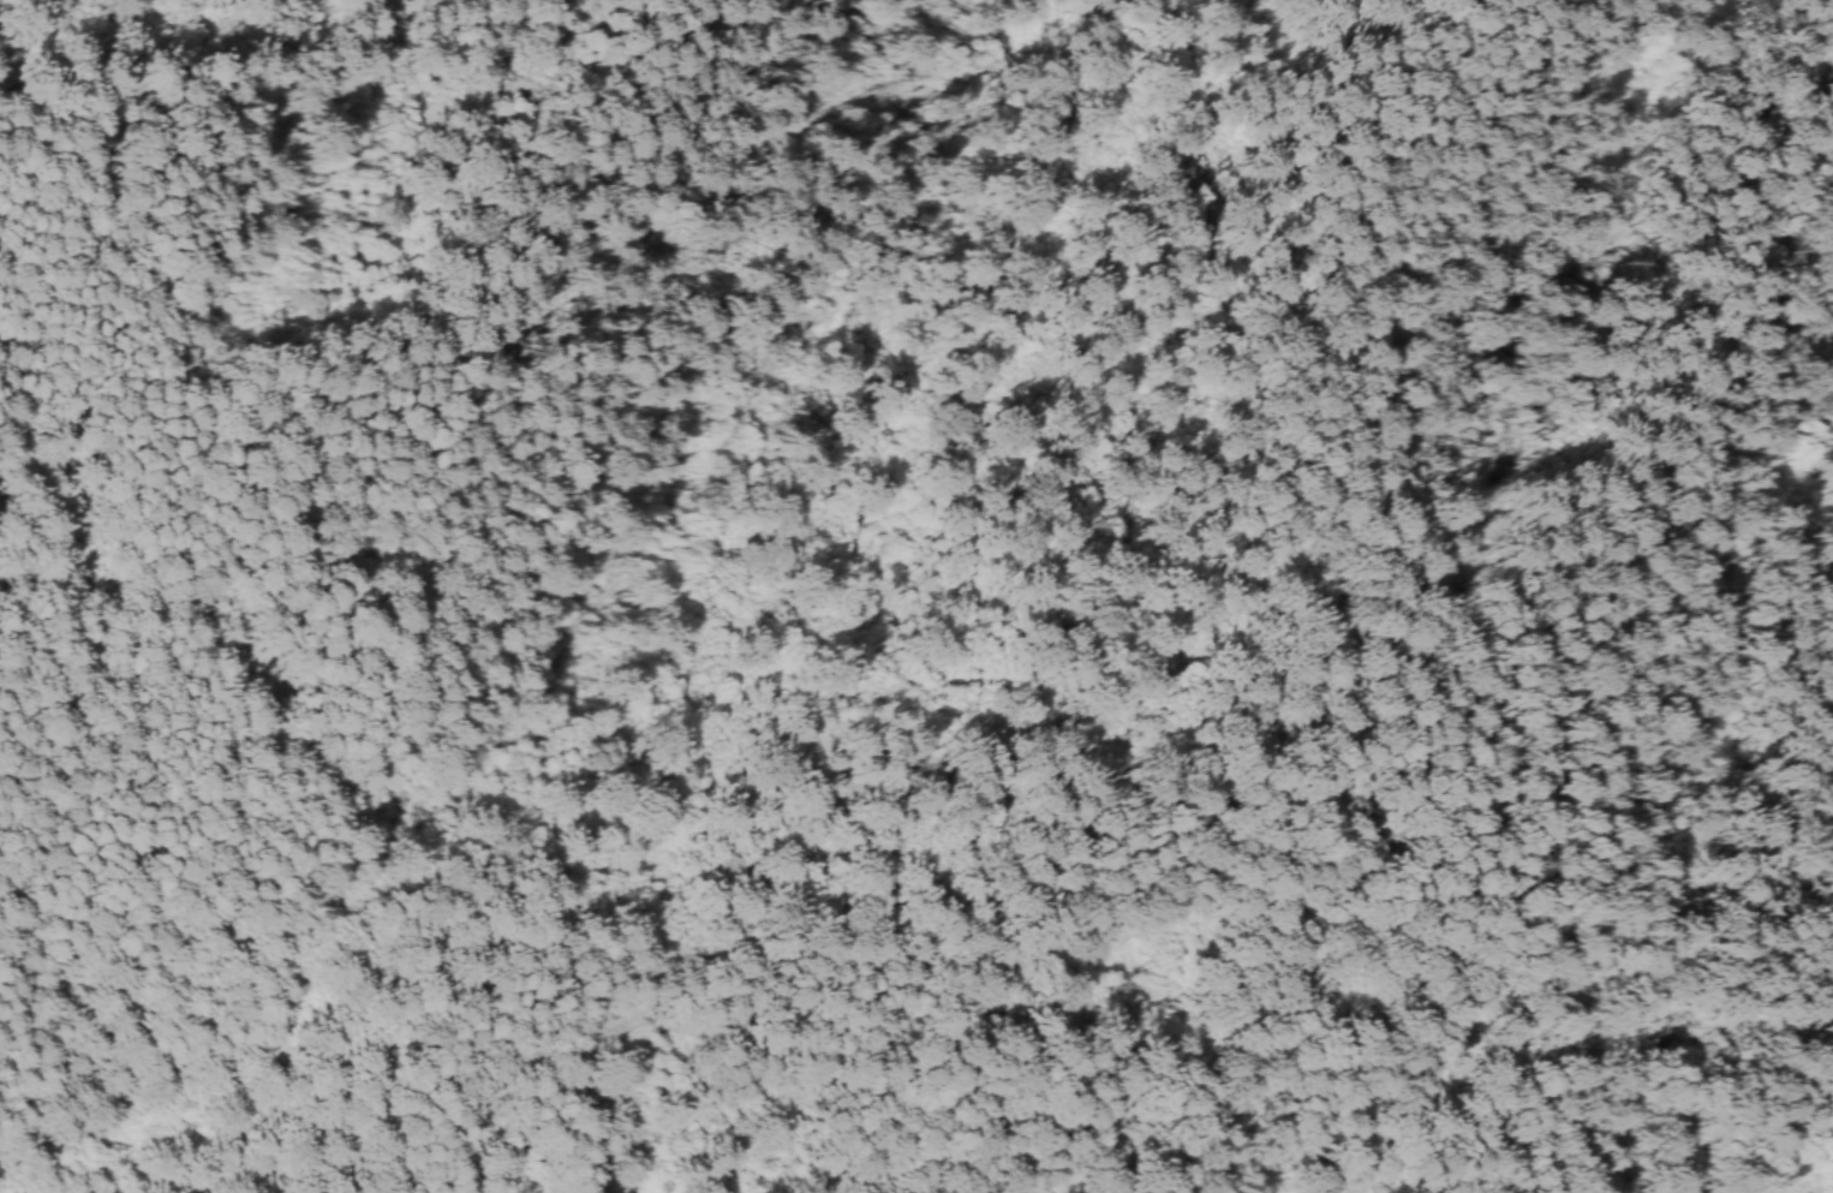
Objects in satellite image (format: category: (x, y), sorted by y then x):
road: (1067, 852)
road: (257, 865)

